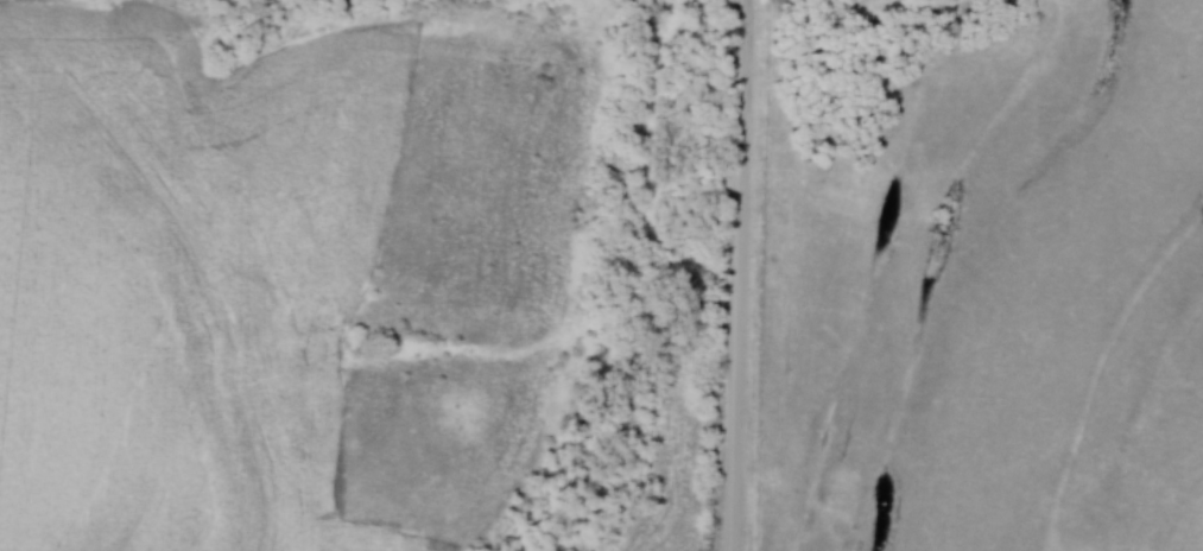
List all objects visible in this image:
road: (740, 275)

